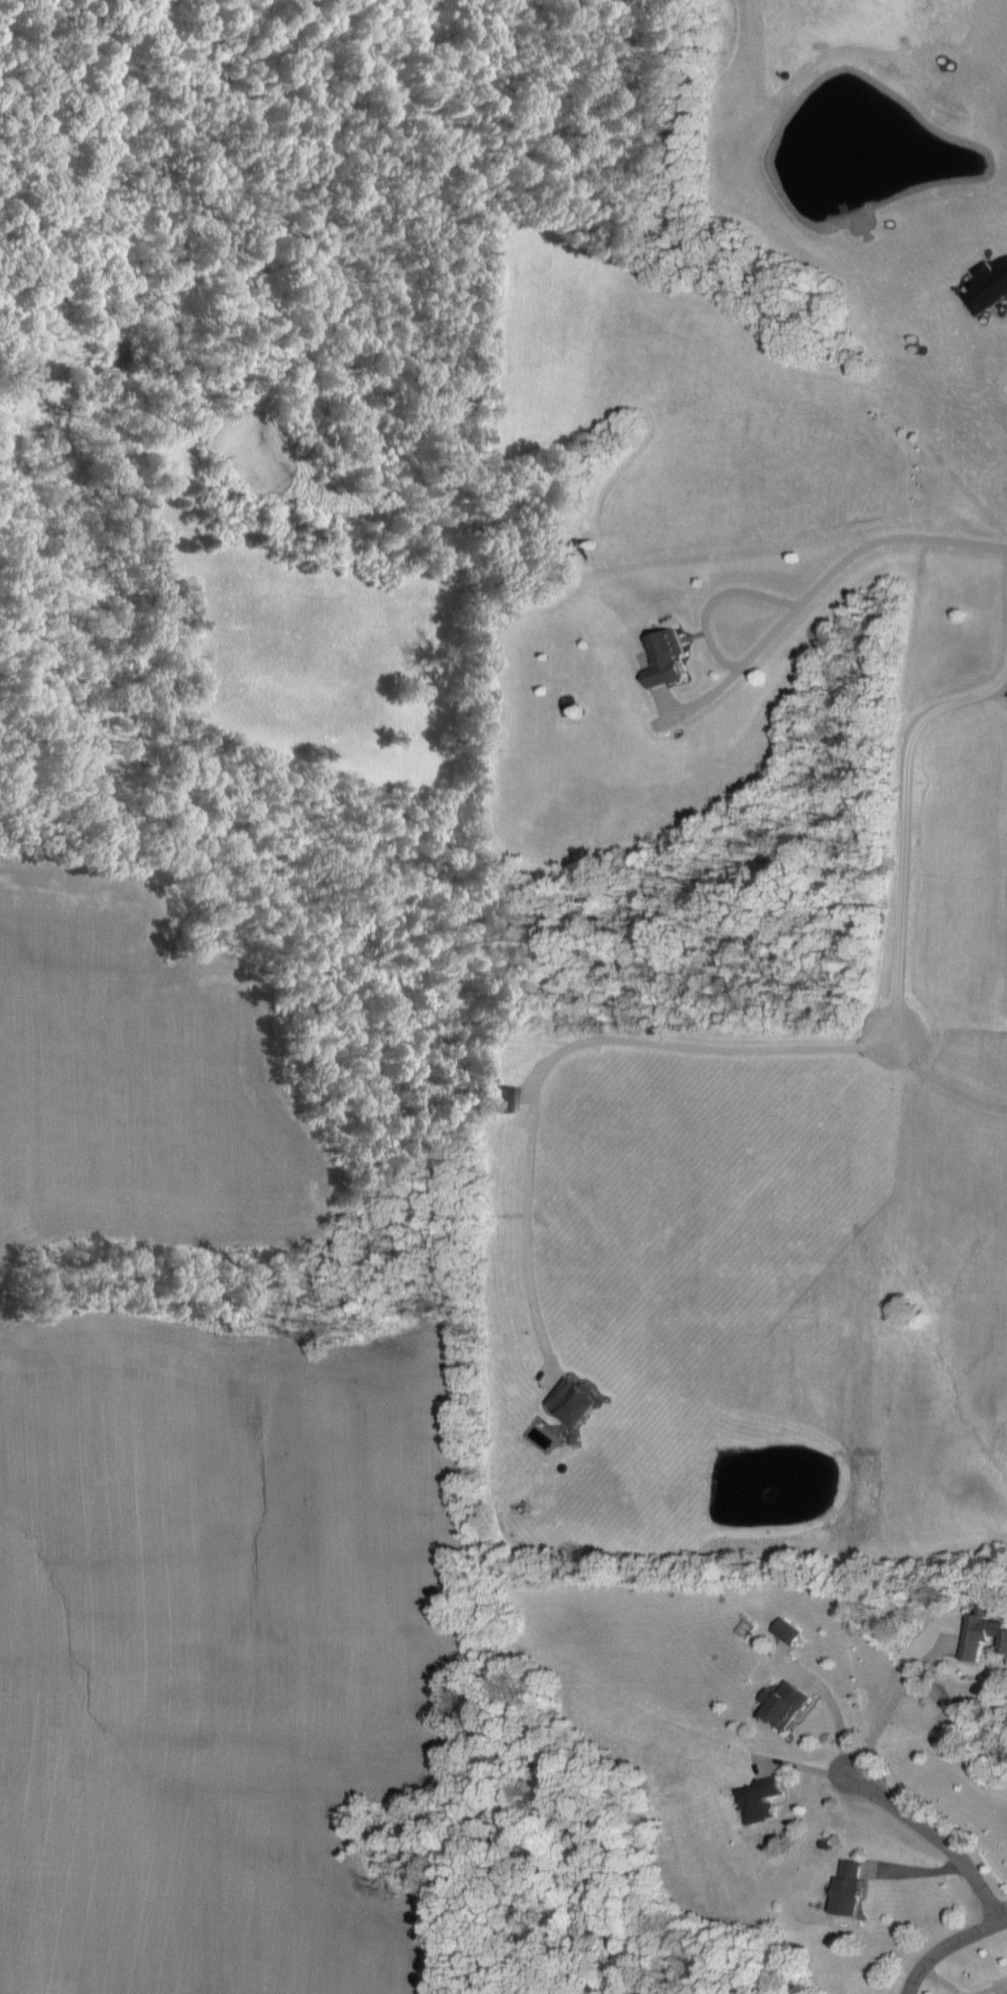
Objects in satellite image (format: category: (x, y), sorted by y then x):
building: (987, 285)
building: (665, 657)
road: (995, 689)
road: (887, 761)
building: (507, 1098)
building: (575, 1400)
building: (788, 1630)
building: (982, 1631)
road: (891, 1701)
building: (784, 1703)
building: (761, 1799)
road: (939, 1831)
building: (848, 1887)
road: (952, 1946)

